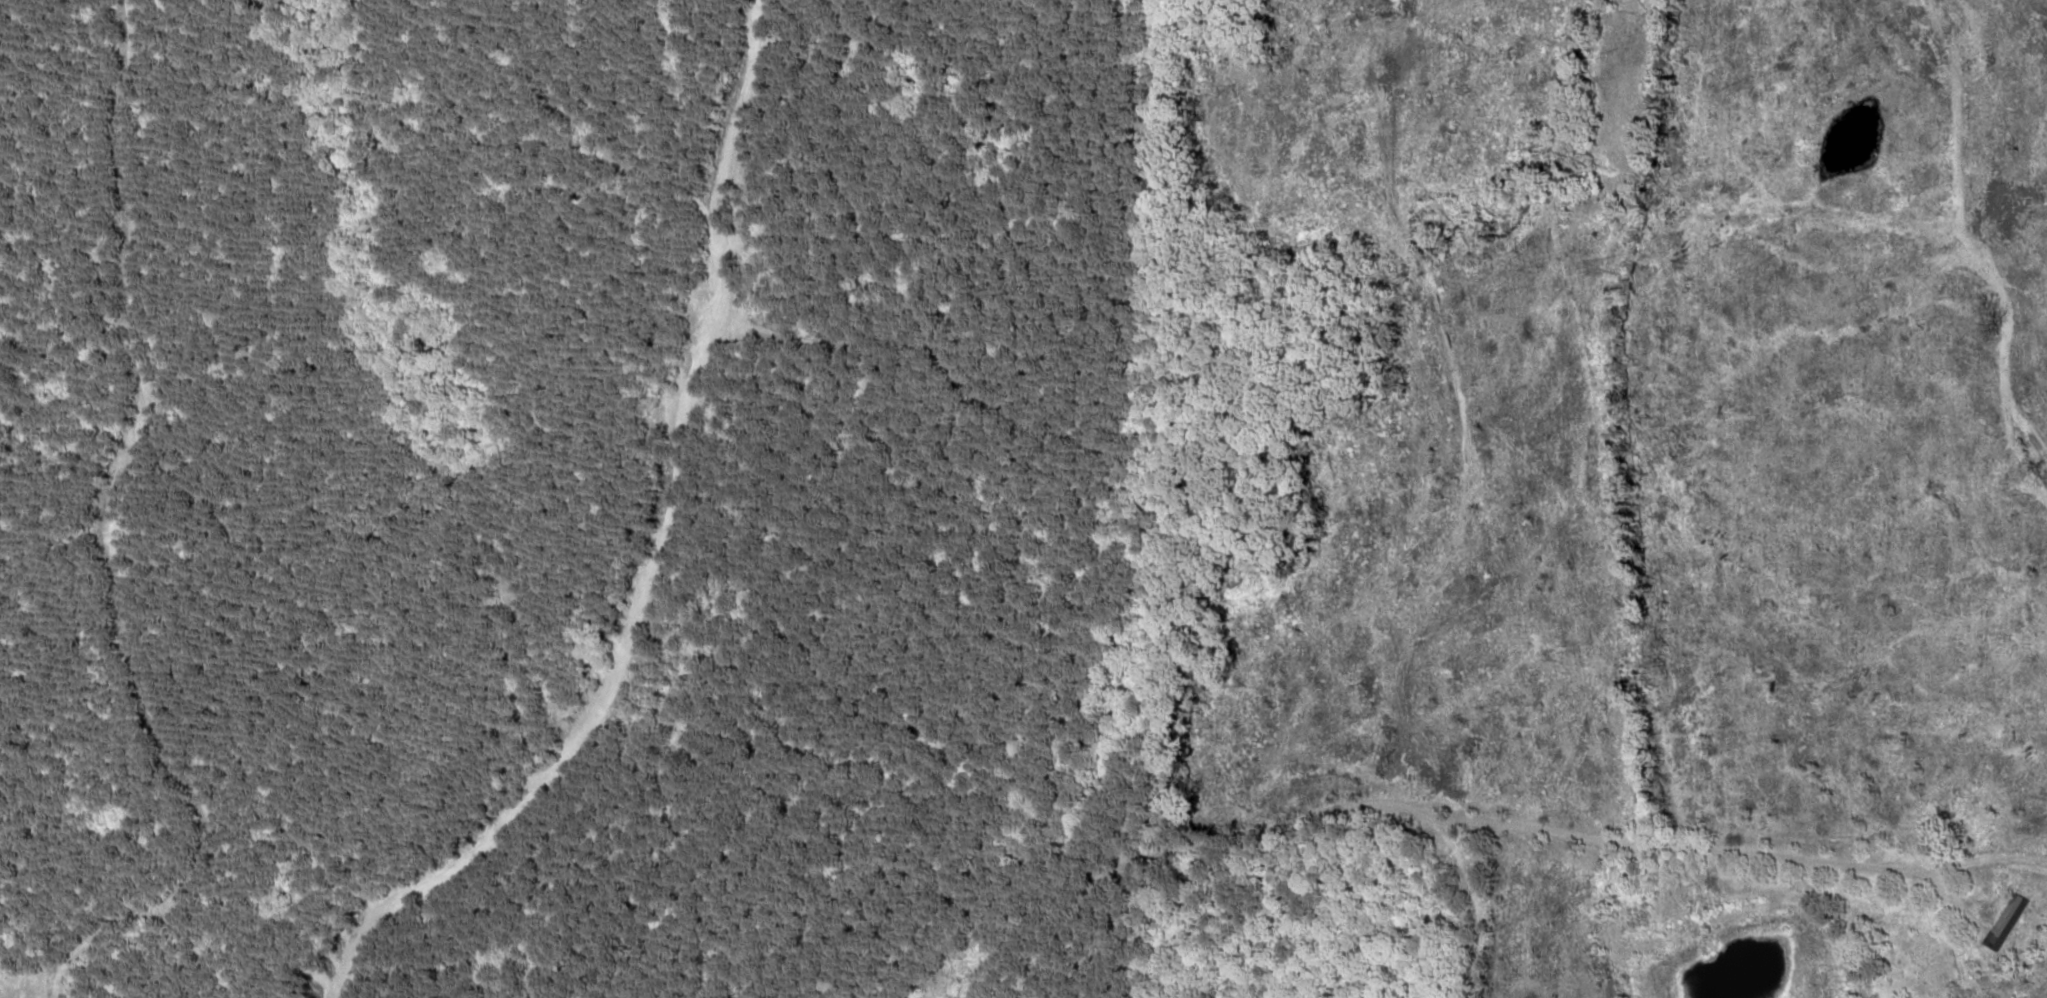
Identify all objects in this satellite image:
building: (2007, 921)

